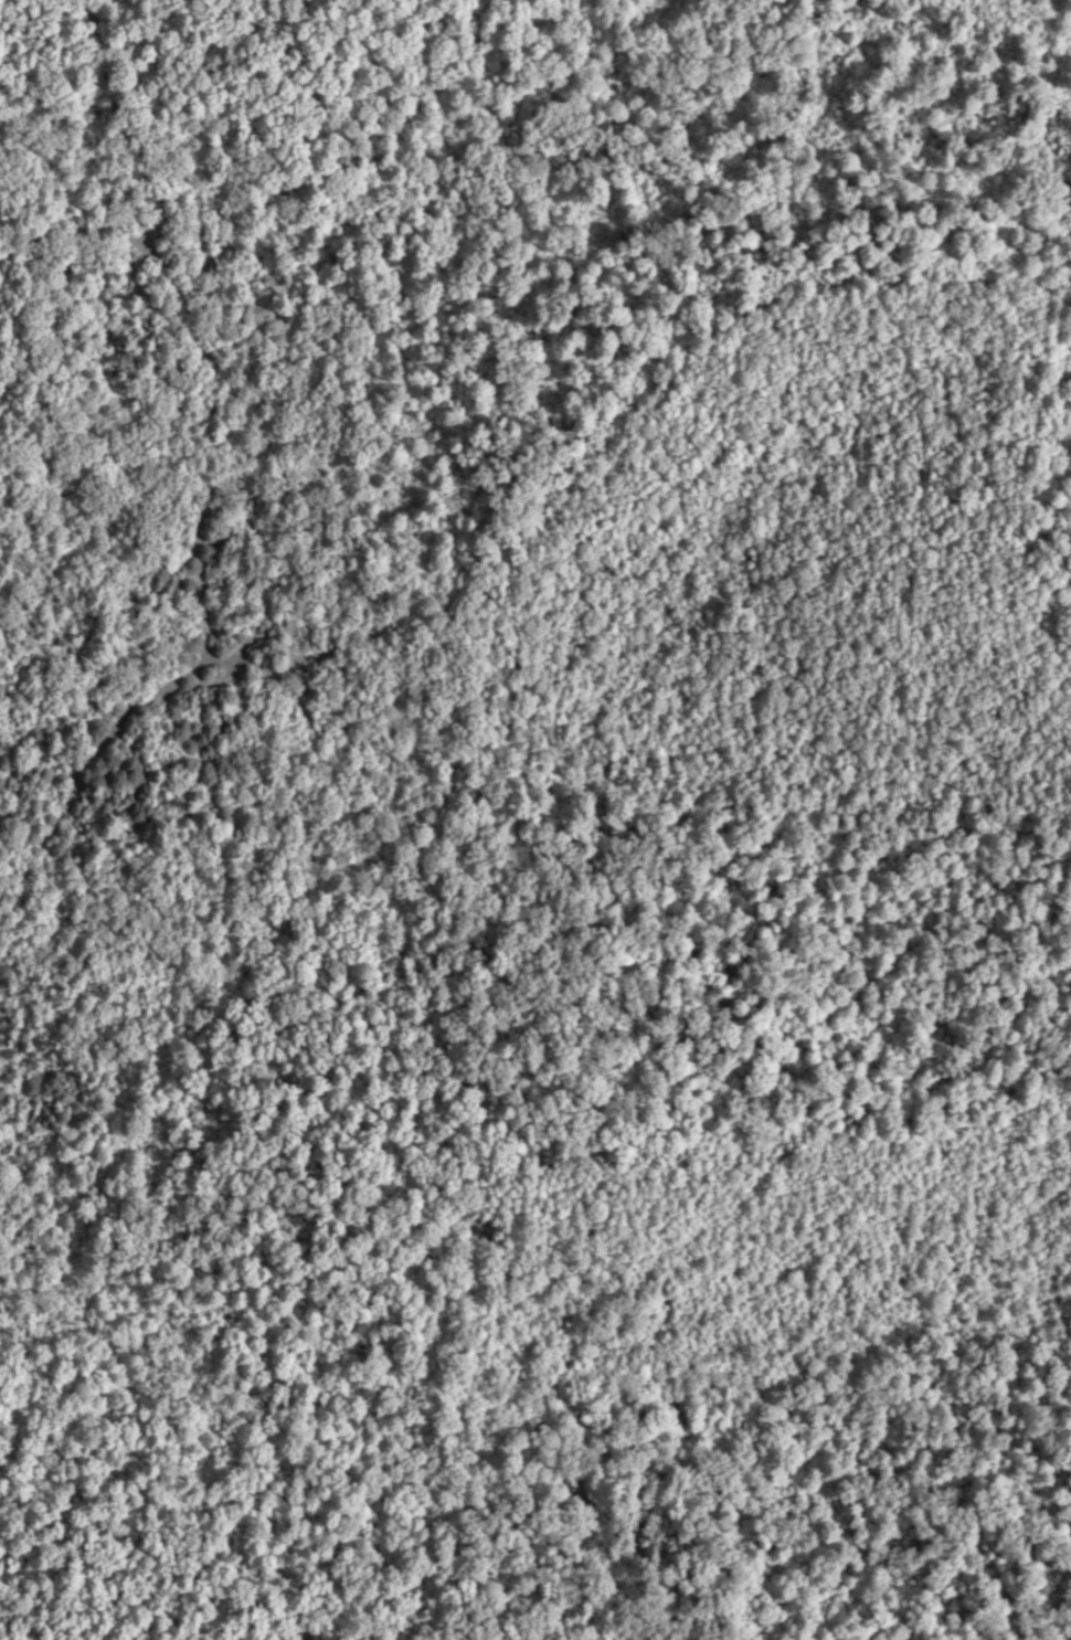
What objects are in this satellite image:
road: (1039, 1604)

